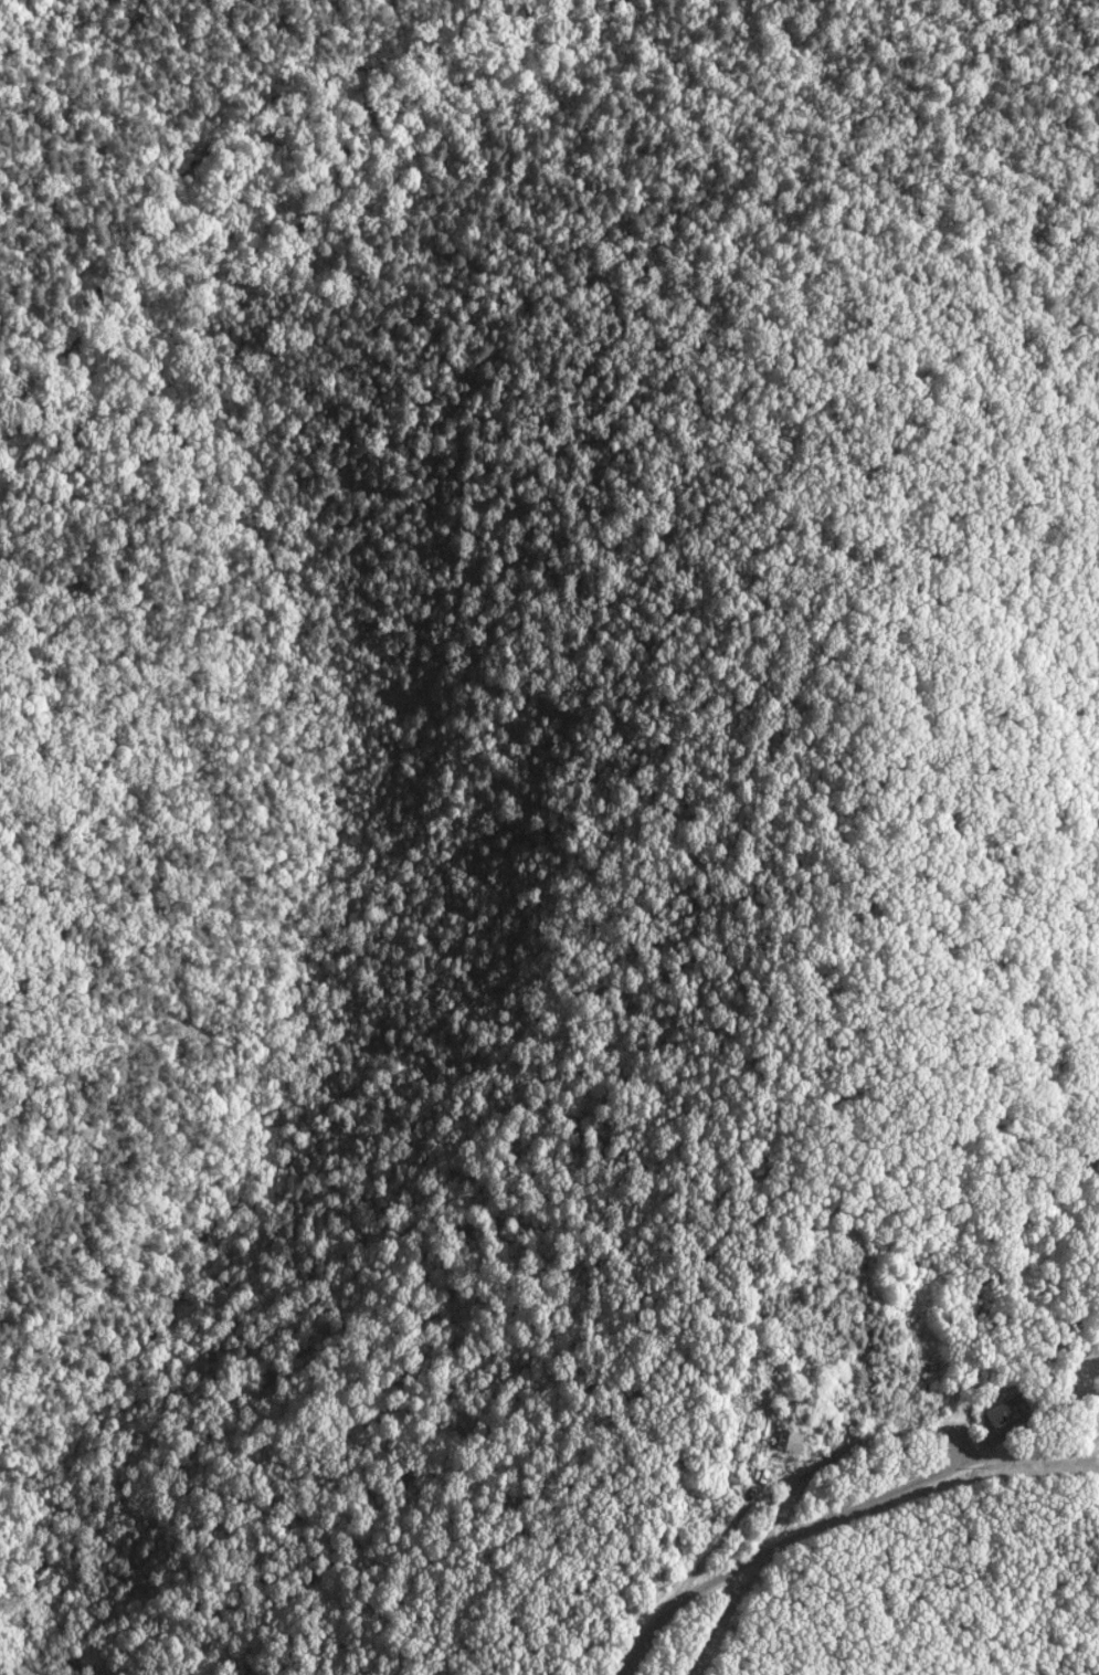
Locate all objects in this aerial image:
building: (1002, 1416)
road: (1050, 1418)
building: (783, 1443)
road: (1054, 1454)
road: (979, 1457)
road: (771, 1548)

